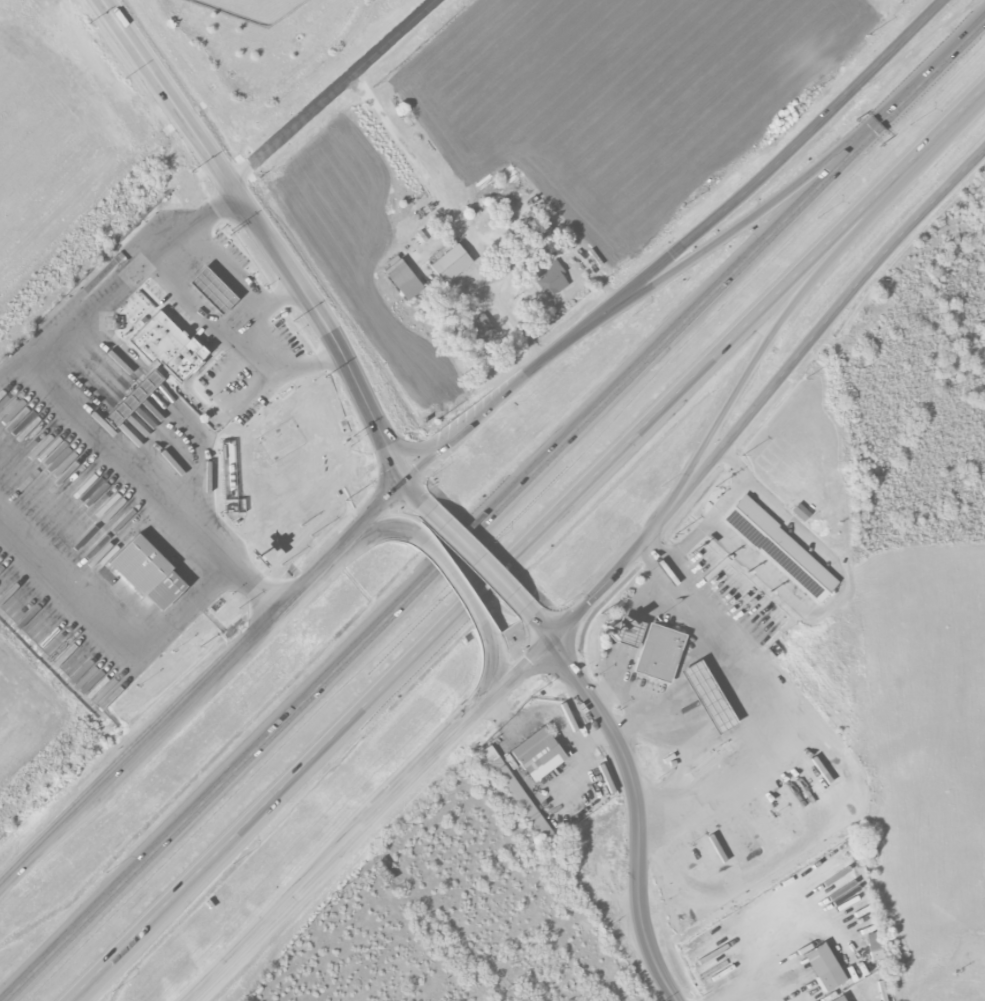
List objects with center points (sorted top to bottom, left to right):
road: (960, 43)
road: (333, 92)
road: (970, 100)
road: (755, 182)
road: (453, 214)
road: (752, 218)
road: (114, 221)
road: (265, 234)
road: (744, 260)
building: (450, 262)
road: (224, 264)
building: (403, 278)
building: (550, 279)
building: (211, 290)
road: (776, 294)
road: (187, 301)
road: (791, 306)
building: (477, 331)
building: (166, 346)
road: (252, 348)
road: (14, 375)
road: (59, 393)
road: (767, 395)
building: (131, 398)
road: (482, 415)
road: (412, 450)
road: (414, 491)
road: (718, 510)
road: (371, 518)
road: (371, 534)
building: (780, 548)
road: (479, 558)
road: (442, 562)
building: (148, 572)
road: (453, 583)
road: (482, 587)
road: (649, 594)
road: (833, 601)
road: (275, 612)
road: (112, 630)
building: (629, 630)
gas station: (629, 630)
road: (632, 634)
building: (658, 652)
road: (621, 667)
road: (485, 681)
building: (708, 696)
gas station: (708, 696)
road: (627, 700)
road: (9, 705)
road: (758, 711)
road: (58, 723)
road: (163, 724)
building: (537, 753)
road: (638, 798)
road: (367, 818)
road: (63, 824)
road: (167, 836)
road: (220, 851)
road: (9, 880)
building: (873, 945)
road: (750, 953)
road: (124, 955)
building: (823, 966)
building: (838, 998)

